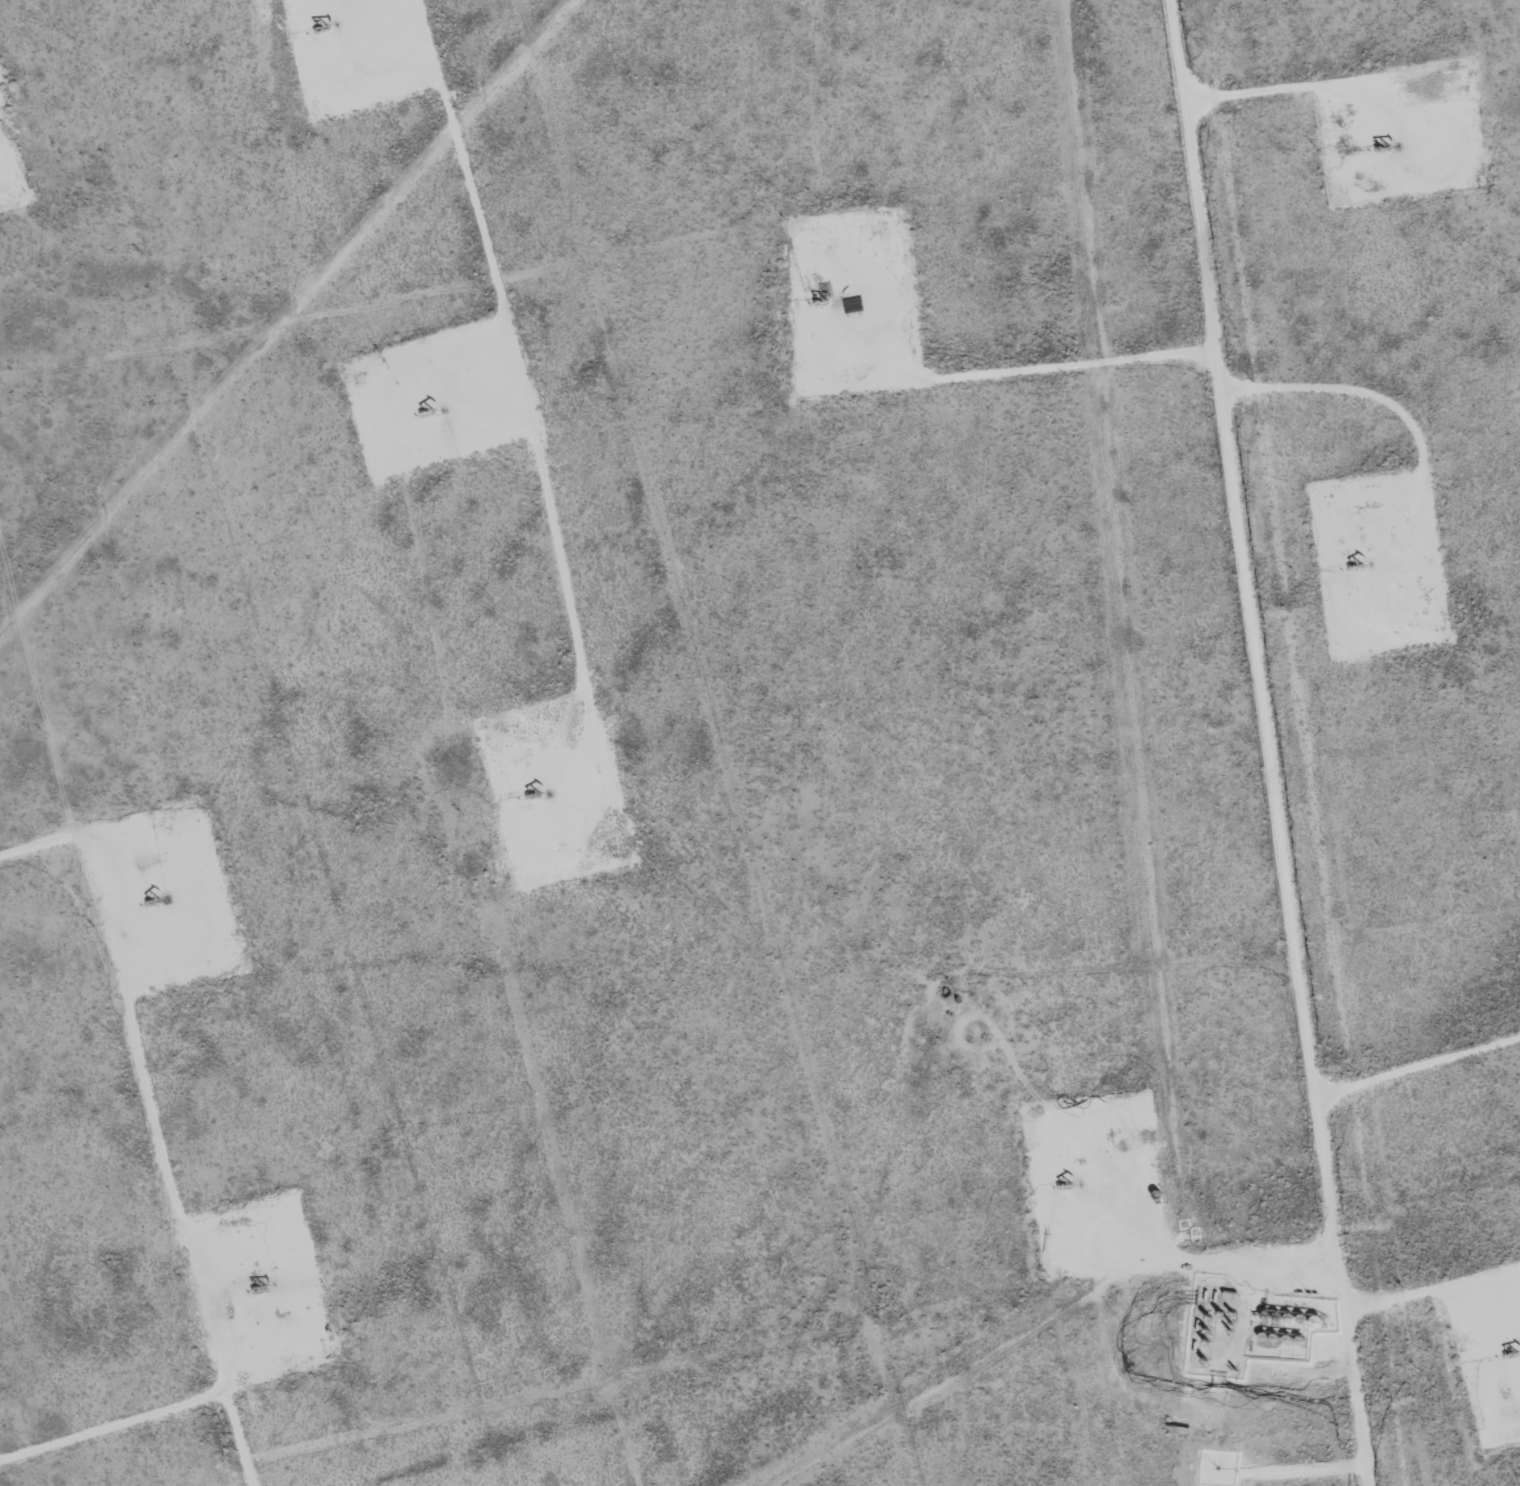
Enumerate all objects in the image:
road: (517, 354)
road: (1271, 743)
road: (162, 1110)

